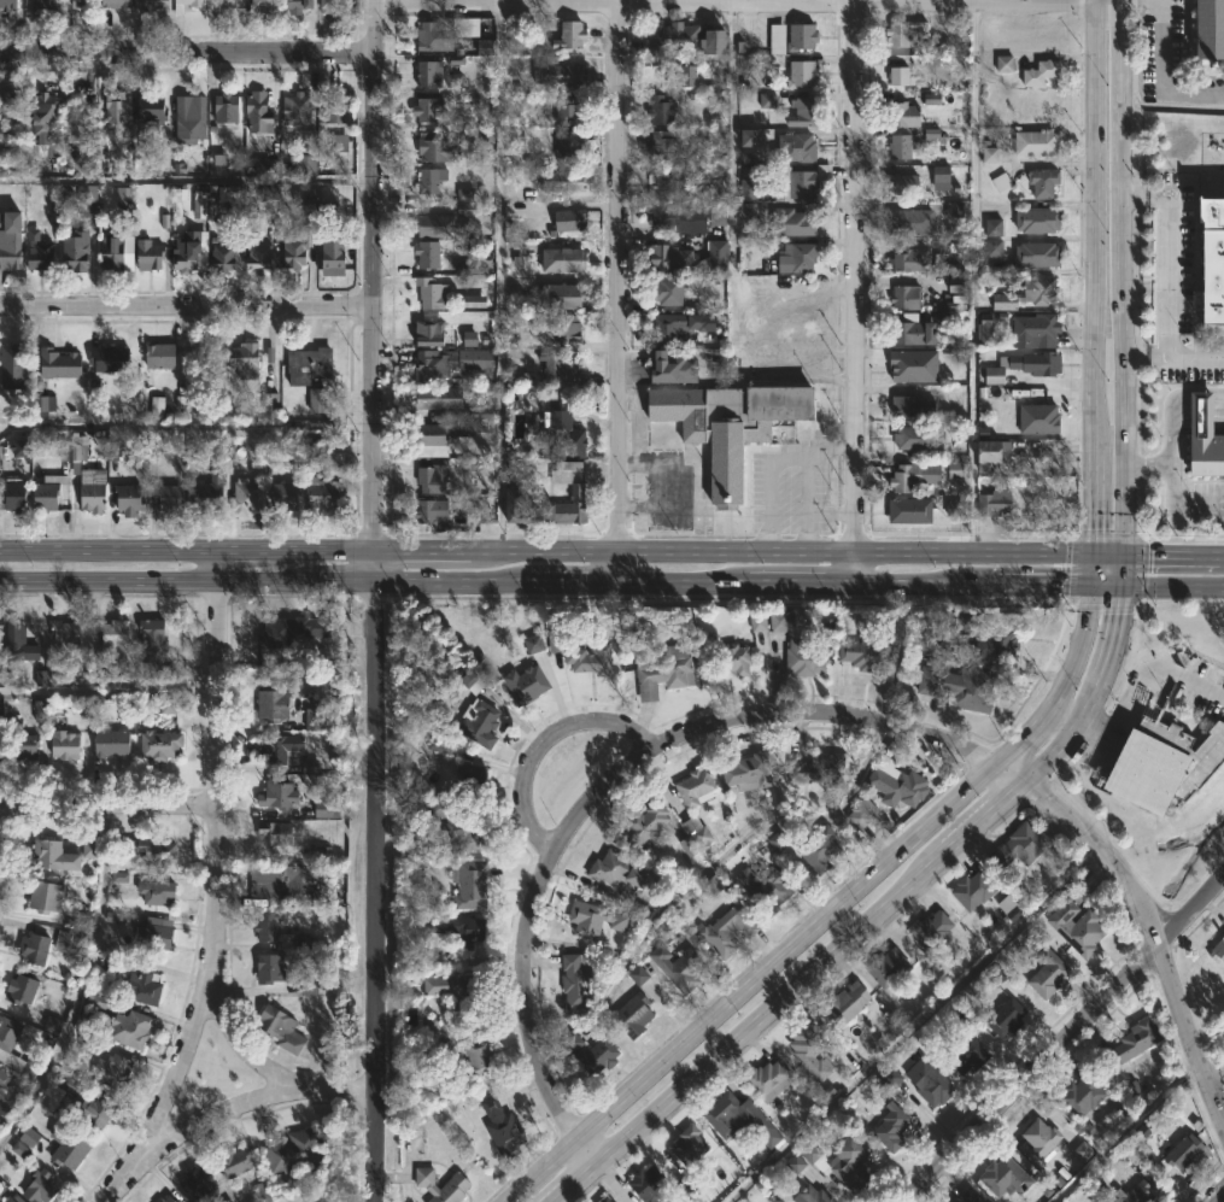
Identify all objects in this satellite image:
road: (974, 0)
road: (802, 1)
building: (46, 4)
building: (84, 4)
building: (116, 4)
building: (230, 4)
building: (265, 4)
building: (7, 5)
building: (154, 5)
building: (299, 5)
building: (333, 6)
building: (178, 12)
building: (1208, 29)
building: (445, 31)
building: (572, 35)
building: (906, 35)
building: (684, 37)
building: (793, 37)
building: (485, 47)
road: (186, 51)
road: (1159, 54)
building: (455, 60)
building: (1003, 64)
building: (686, 70)
building: (560, 72)
building: (1043, 72)
building: (429, 75)
building: (803, 75)
building: (898, 76)
building: (931, 99)
building: (767, 100)
building: (8, 107)
building: (227, 107)
building: (336, 107)
building: (152, 109)
building: (297, 109)
building: (662, 109)
building: (429, 110)
building: (116, 111)
building: (569, 111)
building: (804, 113)
building: (42, 115)
building: (258, 115)
building: (904, 115)
building: (191, 118)
building: (931, 135)
building: (750, 137)
road: (1108, 137)
building: (338, 142)
building: (1037, 142)
building: (569, 145)
building: (663, 146)
building: (440, 147)
building: (798, 148)
building: (2, 149)
building: (901, 149)
road: (371, 152)
building: (989, 156)
building: (308, 162)
building: (265, 168)
road: (185, 177)
building: (941, 178)
building: (432, 181)
building: (564, 181)
building: (661, 181)
building: (803, 181)
building: (1046, 183)
building: (906, 184)
building: (750, 189)
road: (1196, 189)
road: (1138, 192)
building: (464, 193)
building: (124, 197)
building: (234, 197)
building: (87, 200)
building: (199, 205)
building: (953, 210)
building: (745, 212)
building: (330, 215)
building: (679, 218)
building: (572, 221)
building: (1039, 221)
building: (793, 222)
building: (909, 223)
building: (434, 225)
building: (992, 227)
building: (297, 247)
building: (992, 248)
building: (191, 251)
building: (39, 252)
building: (76, 252)
building: (112, 253)
building: (428, 254)
building: (150, 256)
building: (1038, 256)
building: (10, 258)
building: (222, 258)
building: (259, 258)
building: (333, 258)
building: (689, 258)
building: (800, 259)
building: (564, 260)
building: (913, 260)
building: (1210, 264)
road: (1169, 269)
road: (498, 275)
road: (973, 277)
building: (956, 285)
road: (620, 291)
road: (856, 291)
building: (1041, 291)
building: (668, 292)
building: (433, 294)
building: (563, 297)
building: (906, 298)
road: (185, 305)
building: (679, 327)
building: (567, 330)
building: (919, 330)
building: (985, 332)
building: (1037, 332)
building: (445, 335)
road: (1195, 354)
building: (160, 356)
road: (1147, 356)
building: (110, 359)
building: (476, 359)
building: (246, 360)
building: (60, 364)
road: (1096, 364)
building: (309, 365)
building: (433, 365)
building: (558, 365)
building: (11, 367)
building: (908, 367)
building: (1025, 367)
building: (673, 370)
building: (316, 400)
building: (269, 403)
building: (439, 403)
road: (1172, 404)
building: (45, 406)
building: (156, 407)
building: (913, 407)
building: (480, 414)
road: (1123, 415)
building: (1038, 418)
building: (728, 424)
road: (185, 426)
road: (370, 428)
building: (560, 430)
building: (434, 435)
building: (914, 439)
building: (1203, 439)
building: (314, 447)
building: (19, 448)
road: (828, 450)
building: (995, 453)
road: (804, 464)
building: (954, 470)
building: (913, 477)
building: (431, 480)
road: (1169, 486)
building: (579, 489)
building: (49, 493)
building: (94, 494)
building: (322, 494)
building: (204, 496)
building: (16, 497)
building: (286, 497)
building: (994, 497)
building: (168, 498)
building: (246, 498)
building: (129, 500)
road: (1094, 504)
building: (954, 506)
building: (526, 509)
building: (910, 510)
building: (432, 511)
road: (807, 532)
road: (768, 538)
road: (546, 551)
traffic signals: (1094, 556)
traffic signals: (1125, 557)
road: (1158, 557)
road: (1093, 569)
road: (1125, 570)
road: (545, 581)
traffic signals: (1093, 584)
traffic signals: (1125, 585)
road: (1158, 585)
building: (64, 629)
building: (13, 631)
building: (291, 631)
building: (115, 633)
building: (153, 634)
building: (556, 634)
building: (990, 635)
road: (1119, 637)
building: (866, 653)
building: (591, 657)
building: (807, 657)
building: (736, 658)
building: (664, 669)
building: (527, 682)
building: (961, 685)
road: (109, 690)
road: (1137, 693)
building: (274, 704)
building: (481, 721)
road: (541, 740)
building: (111, 741)
road: (1070, 743)
building: (66, 744)
building: (160, 744)
building: (24, 746)
building: (280, 746)
building: (1160, 761)
building: (820, 768)
building: (751, 770)
building: (472, 772)
road: (614, 773)
building: (697, 786)
building: (900, 786)
building: (280, 793)
road: (109, 804)
building: (862, 815)
road: (371, 821)
road: (988, 821)
building: (648, 823)
building: (459, 825)
building: (277, 832)
road: (1088, 842)
building: (1023, 845)
building: (821, 849)
building: (151, 850)
building: (57, 854)
building: (619, 869)
road: (215, 880)
building: (279, 880)
building: (470, 883)
building: (766, 890)
building: (974, 890)
building: (158, 891)
building: (46, 896)
road: (831, 910)
building: (598, 922)
building: (267, 926)
building: (1079, 927)
building: (457, 928)
building: (933, 930)
building: (728, 931)
building: (157, 936)
building: (71, 943)
building: (34, 948)
building: (1218, 950)
building: (889, 966)
building: (270, 968)
building: (685, 969)
building: (1049, 973)
building: (576, 980)
building: (145, 986)
building: (22, 987)
building: (455, 989)
building: (850, 1001)
building: (636, 1014)
road: (774, 1015)
building: (1008, 1016)
building: (127, 1027)
building: (280, 1027)
road: (1190, 1033)
building: (7, 1038)
building: (1136, 1040)
road: (1061, 1042)
road: (239, 1044)
building: (810, 1046)
building: (591, 1053)
building: (968, 1055)
building: (481, 1057)
building: (113, 1071)
building: (4, 1079)
building: (769, 1079)
building: (931, 1081)
building: (1084, 1093)
road: (223, 1108)
building: (95, 1115)
building: (740, 1119)
building: (504, 1127)
building: (892, 1128)
building: (1042, 1137)
building: (690, 1144)
road: (375, 1145)
building: (70, 1147)
building: (1185, 1151)
building: (295, 1154)
road: (586, 1157)
building: (851, 1161)
building: (233, 1163)
building: (1006, 1177)
building: (649, 1183)
building: (200, 1184)
building: (457, 1184)
building: (40, 1186)
road: (582, 1189)
building: (1138, 1194)
building: (814, 1195)
road: (1217, 1195)
building: (970, 1196)
building: (8, 1198)
road: (336, 1198)
building: (607, 1198)
building: (168, 1200)

